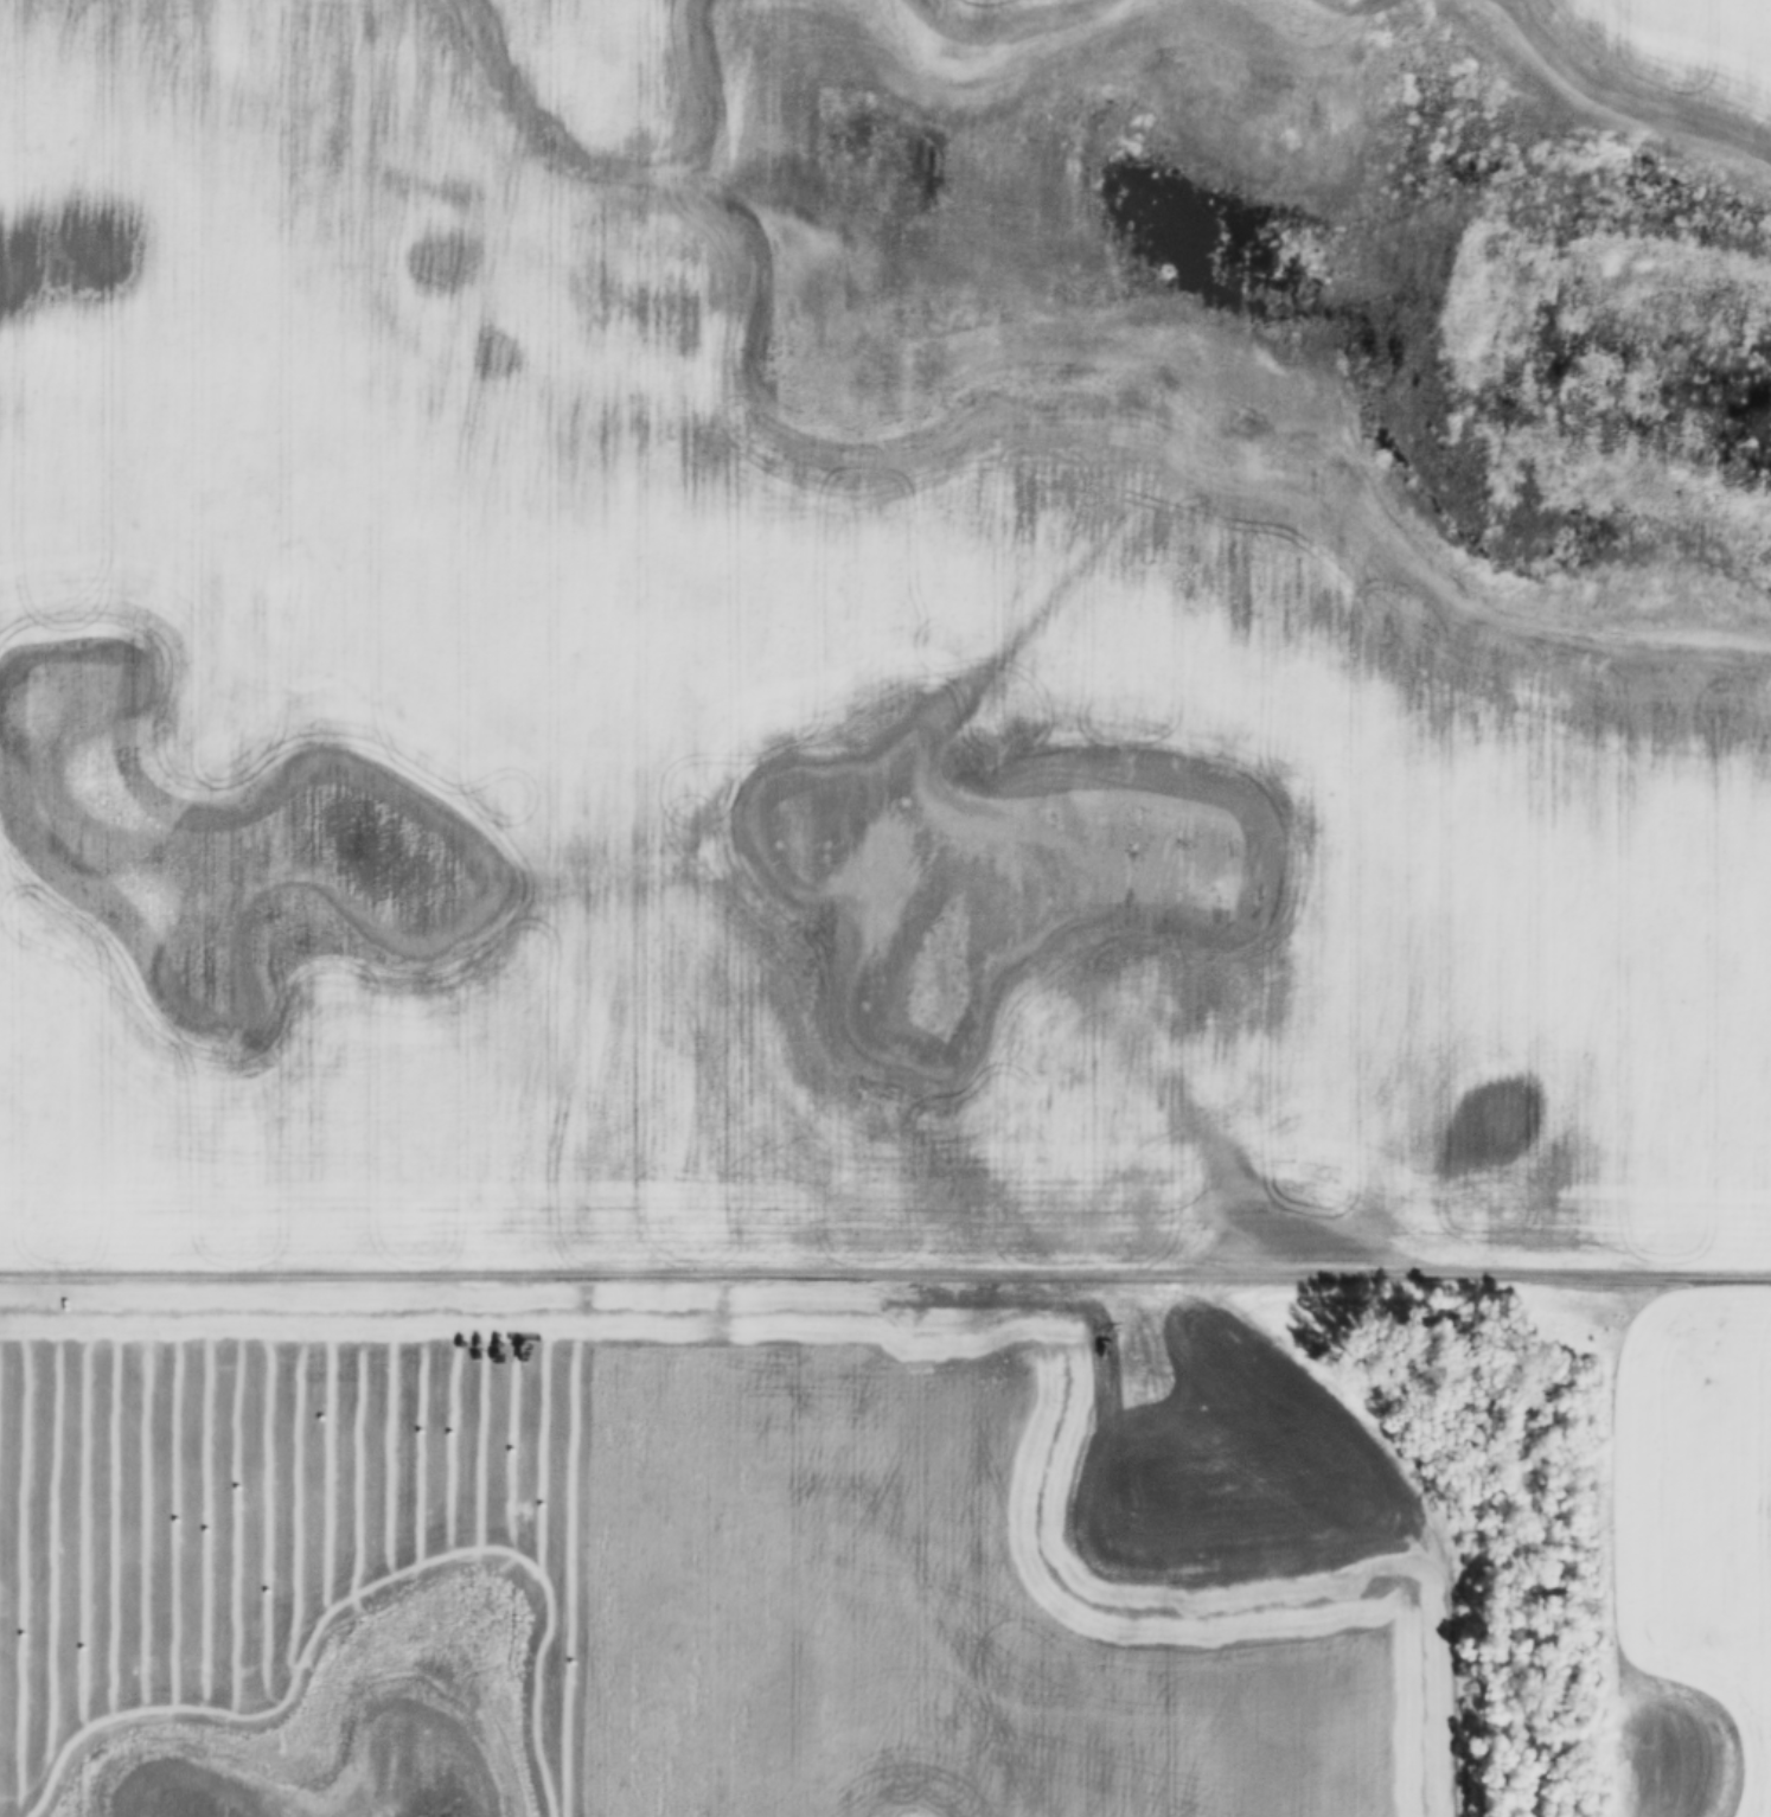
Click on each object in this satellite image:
road: (886, 1268)

